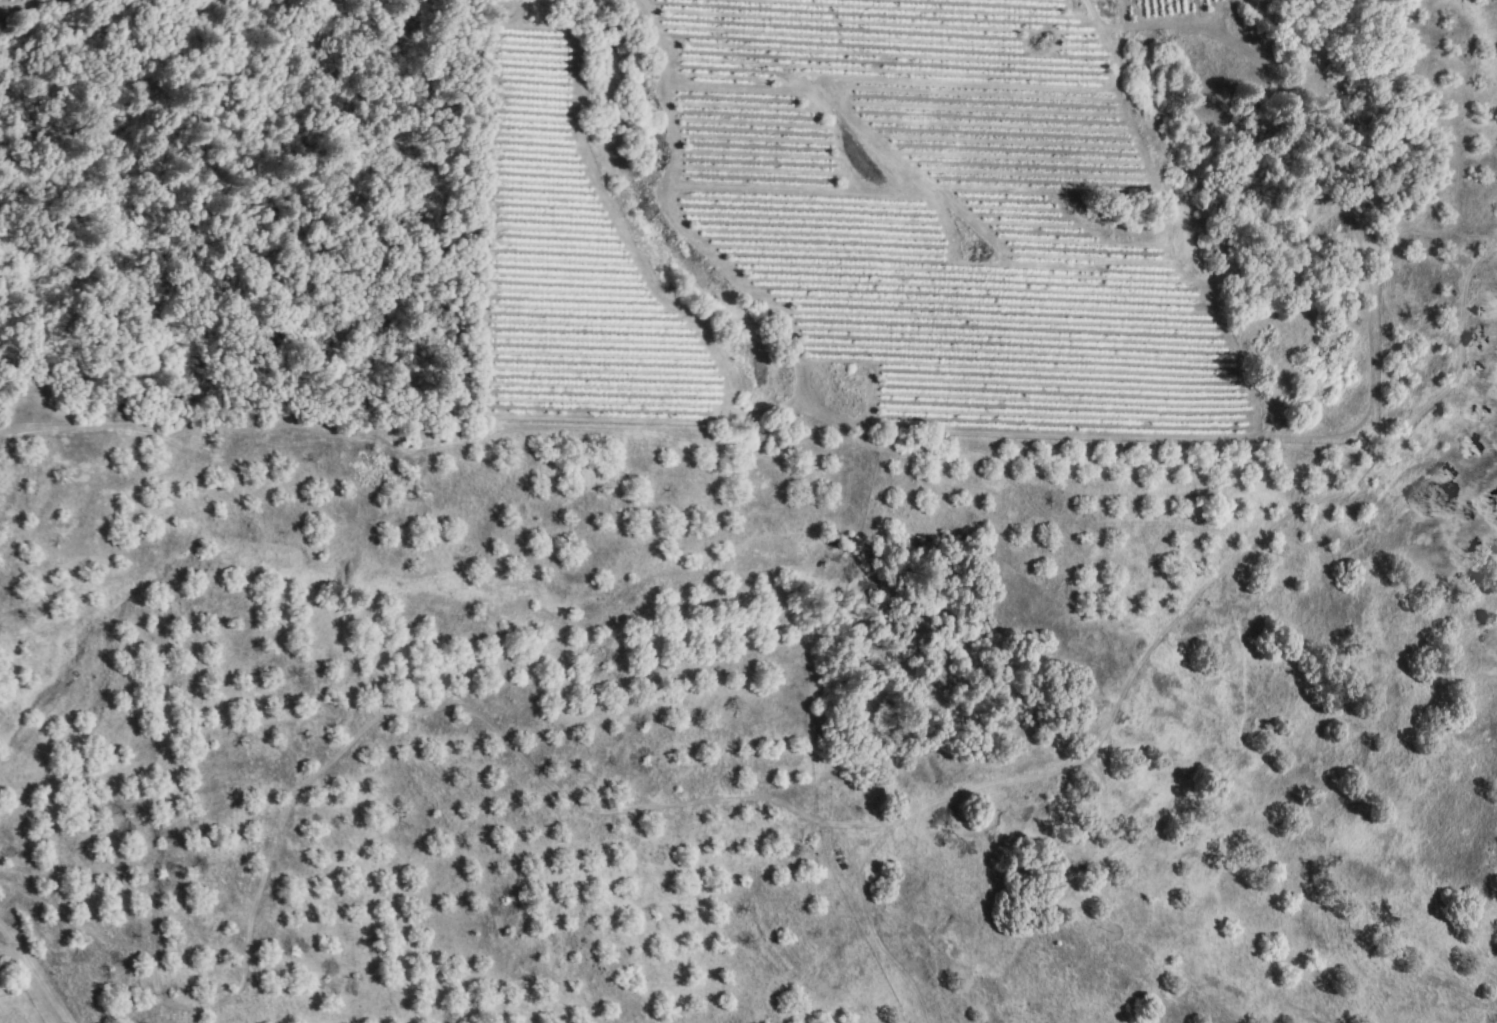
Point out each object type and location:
road: (37, 967)

